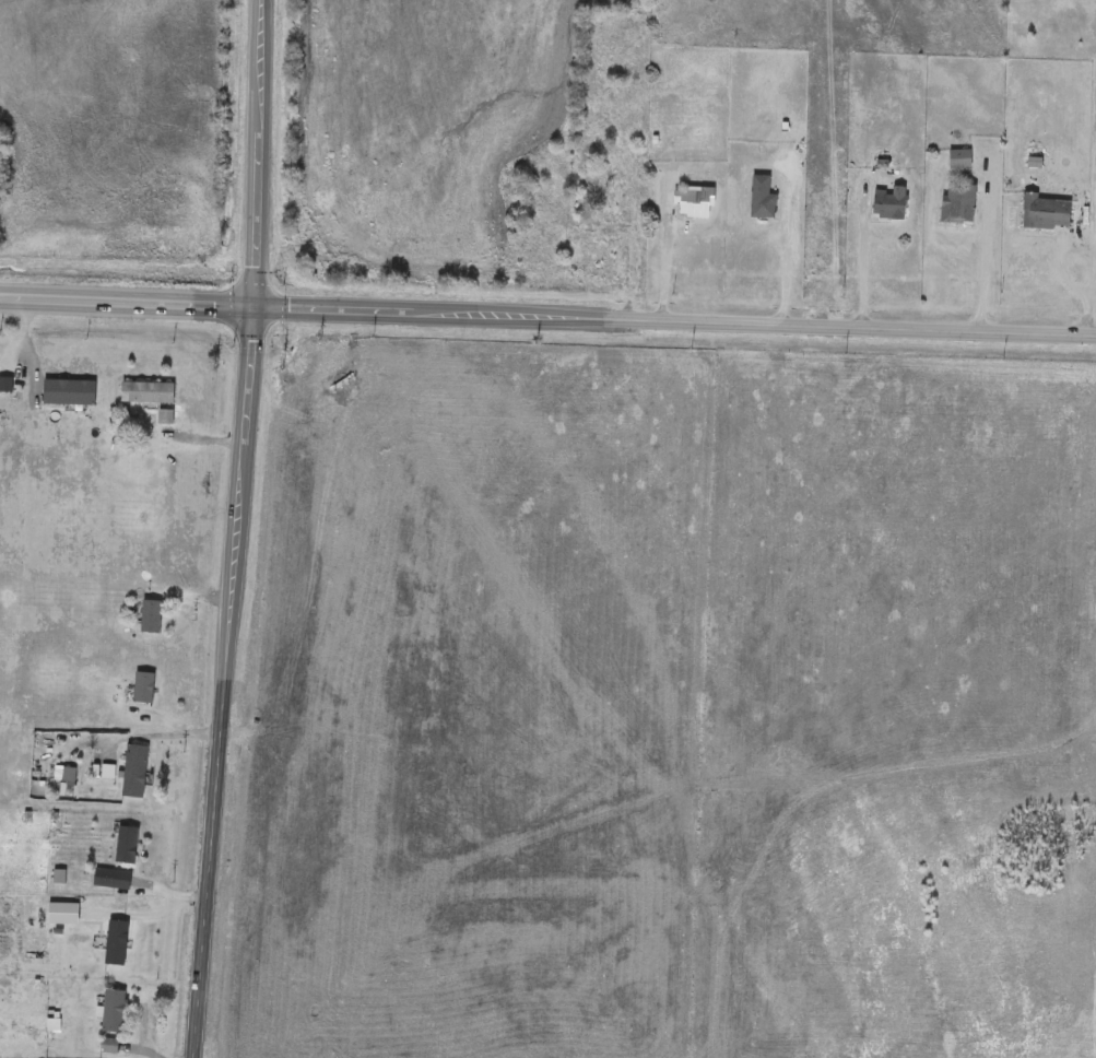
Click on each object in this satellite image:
building: (618, 50)
building: (961, 158)
building: (602, 198)
building: (762, 198)
building: (694, 201)
building: (891, 203)
building: (958, 204)
building: (1048, 212)
road: (785, 256)
road: (983, 261)
road: (864, 263)
road: (667, 268)
road: (1089, 271)
road: (547, 315)
building: (4, 385)
building: (148, 392)
road: (708, 400)
building: (165, 418)
road: (716, 480)
road: (238, 529)
building: (151, 615)
building: (143, 686)
road: (368, 762)
road: (589, 765)
building: (134, 771)
road: (810, 774)
road: (1029, 783)
road: (287, 836)
building: (127, 845)
building: (113, 879)
building: (117, 942)
building: (114, 1010)
road: (414, 1055)

